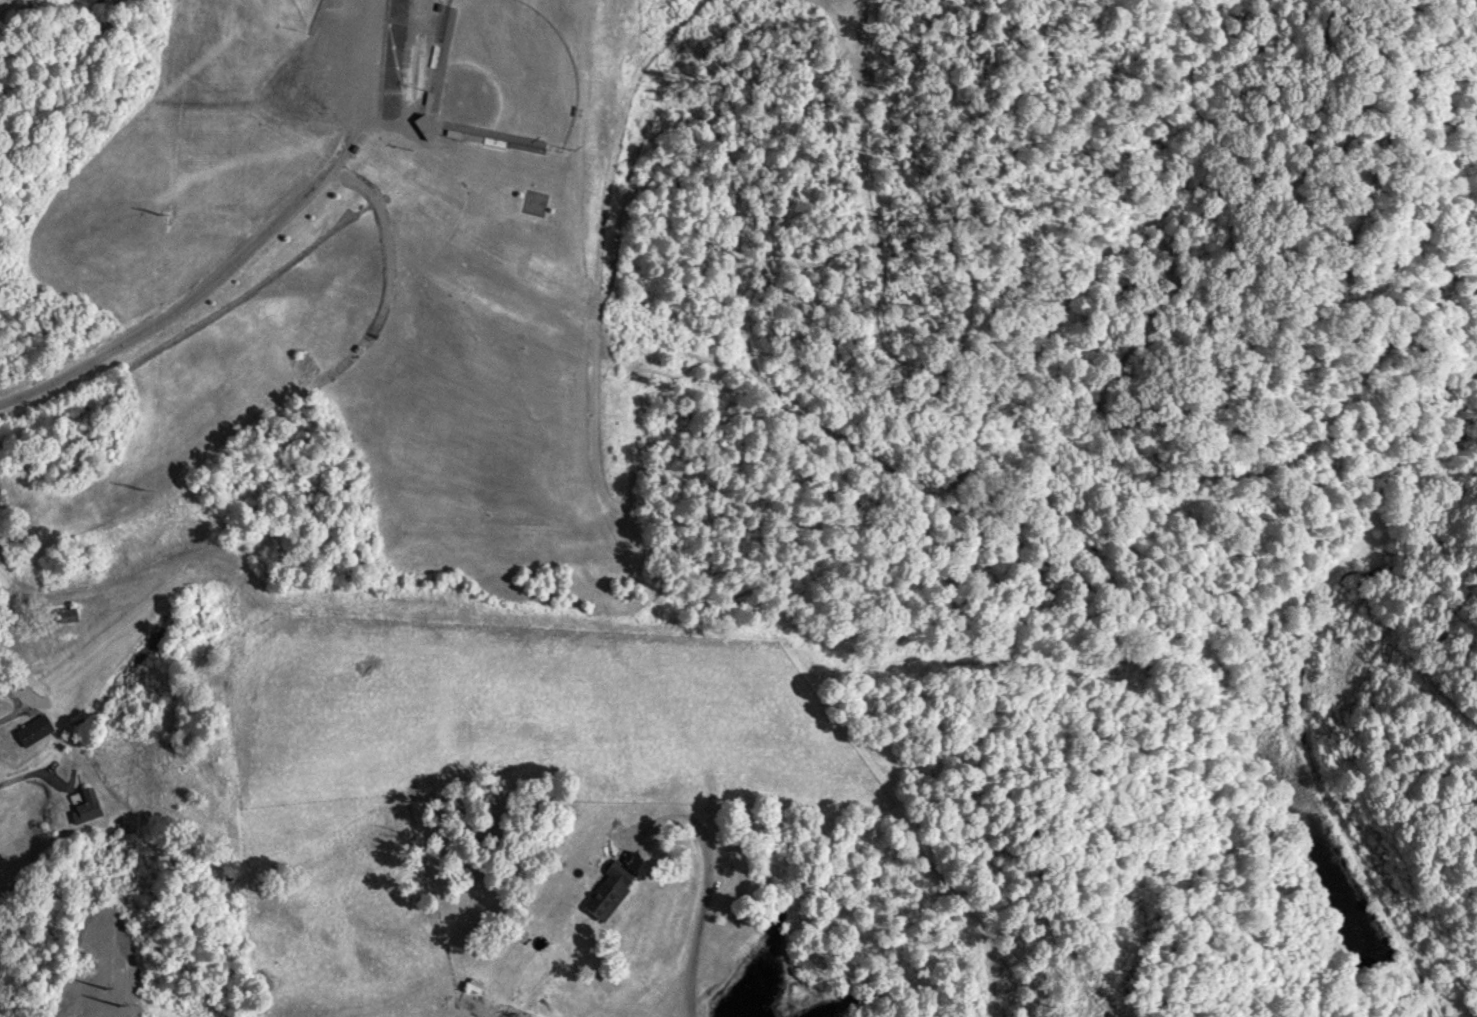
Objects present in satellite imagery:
park: (501, 72)
building: (421, 125)
building: (535, 201)
power tower: (156, 219)
road: (42, 380)
power tower: (127, 494)
building: (61, 615)
building: (31, 729)
building: (82, 804)
building: (607, 892)

